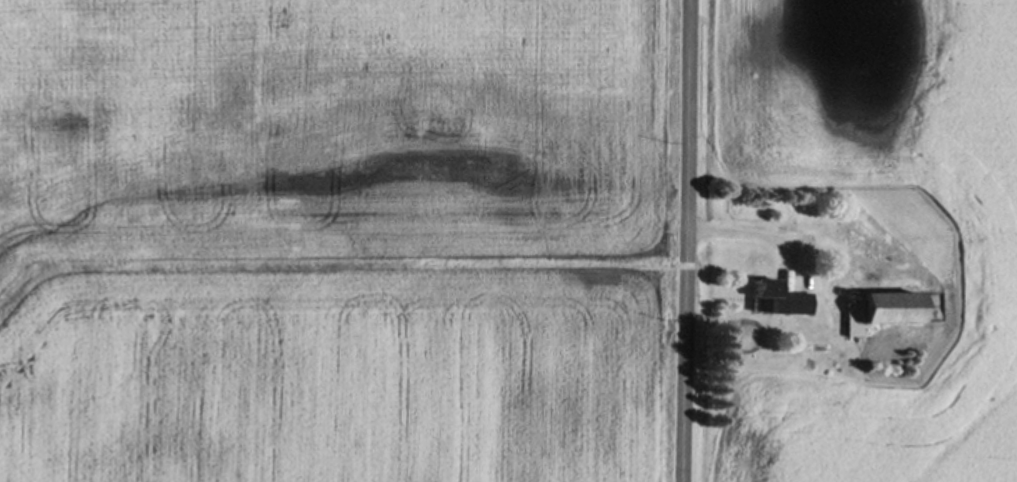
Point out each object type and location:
road: (757, 237)
road: (689, 240)
building: (781, 301)
building: (883, 312)

